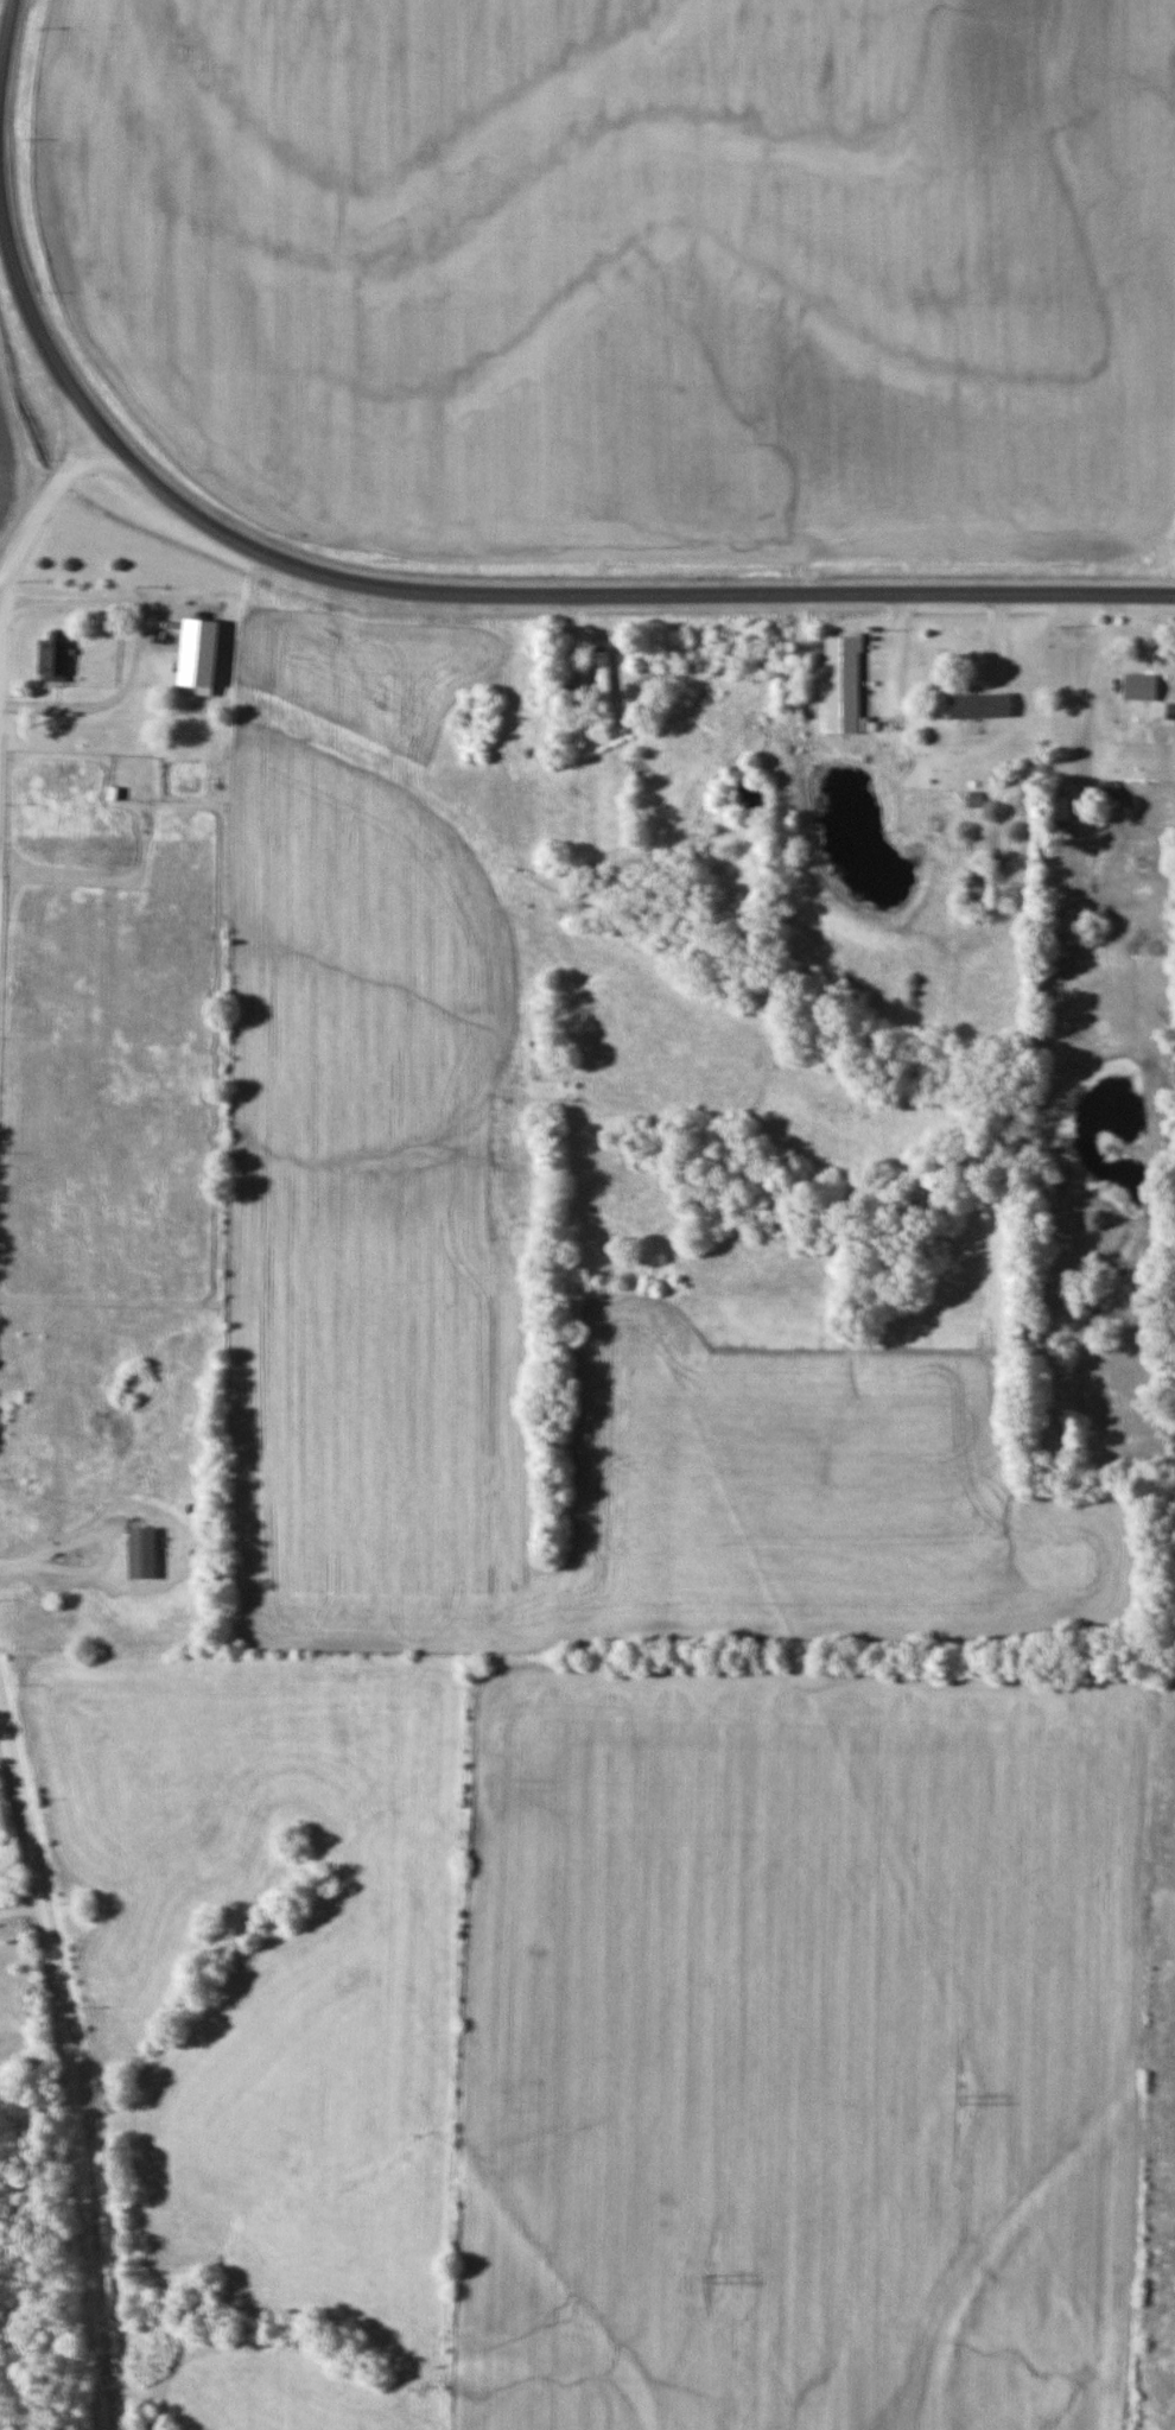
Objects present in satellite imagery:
road: (7, 32)
road: (34, 323)
road: (40, 499)
road: (610, 590)
building: (165, 640)
road: (131, 646)
building: (1155, 651)
building: (52, 659)
building: (602, 678)
building: (843, 686)
road: (1093, 691)
building: (980, 706)
building: (1062, 810)
building: (142, 1553)
road: (74, 2061)

